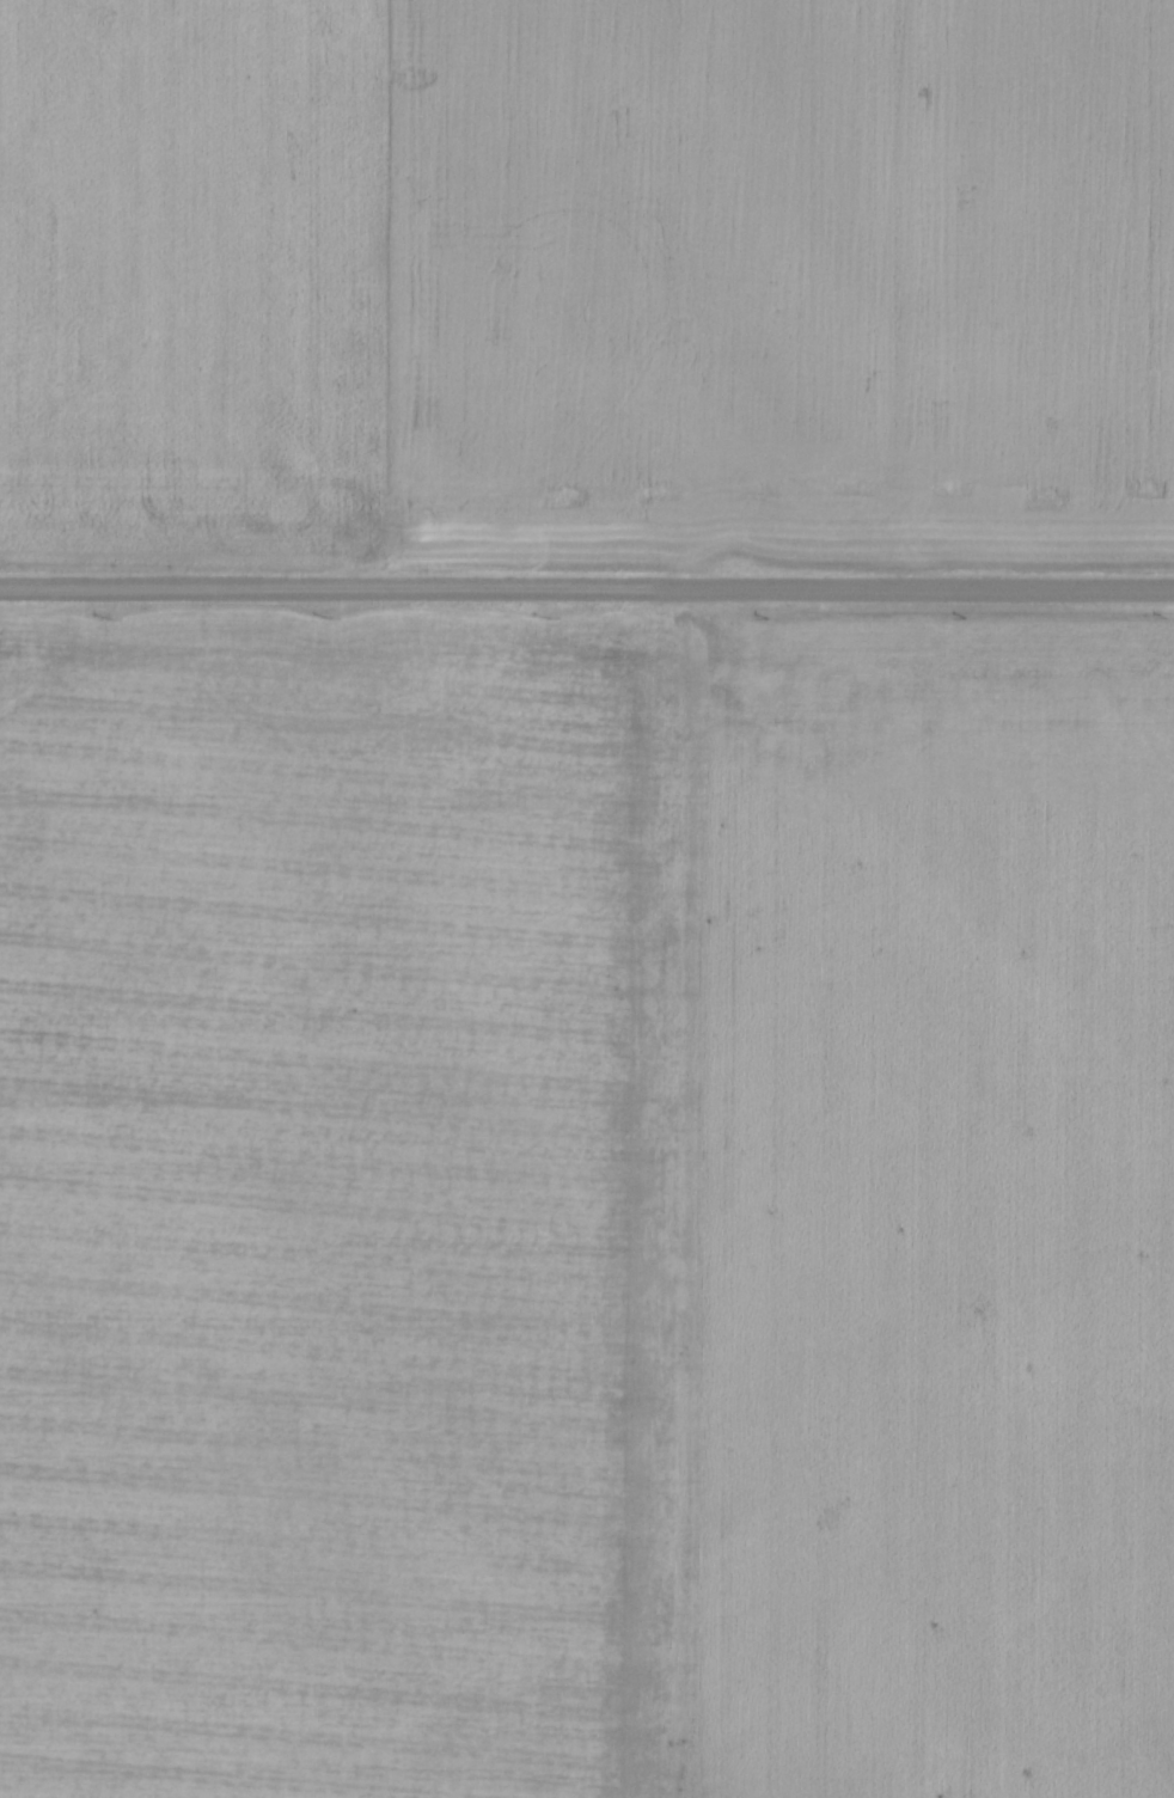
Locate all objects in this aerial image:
crop: (586, 280)
road: (587, 587)
crop: (586, 1204)

